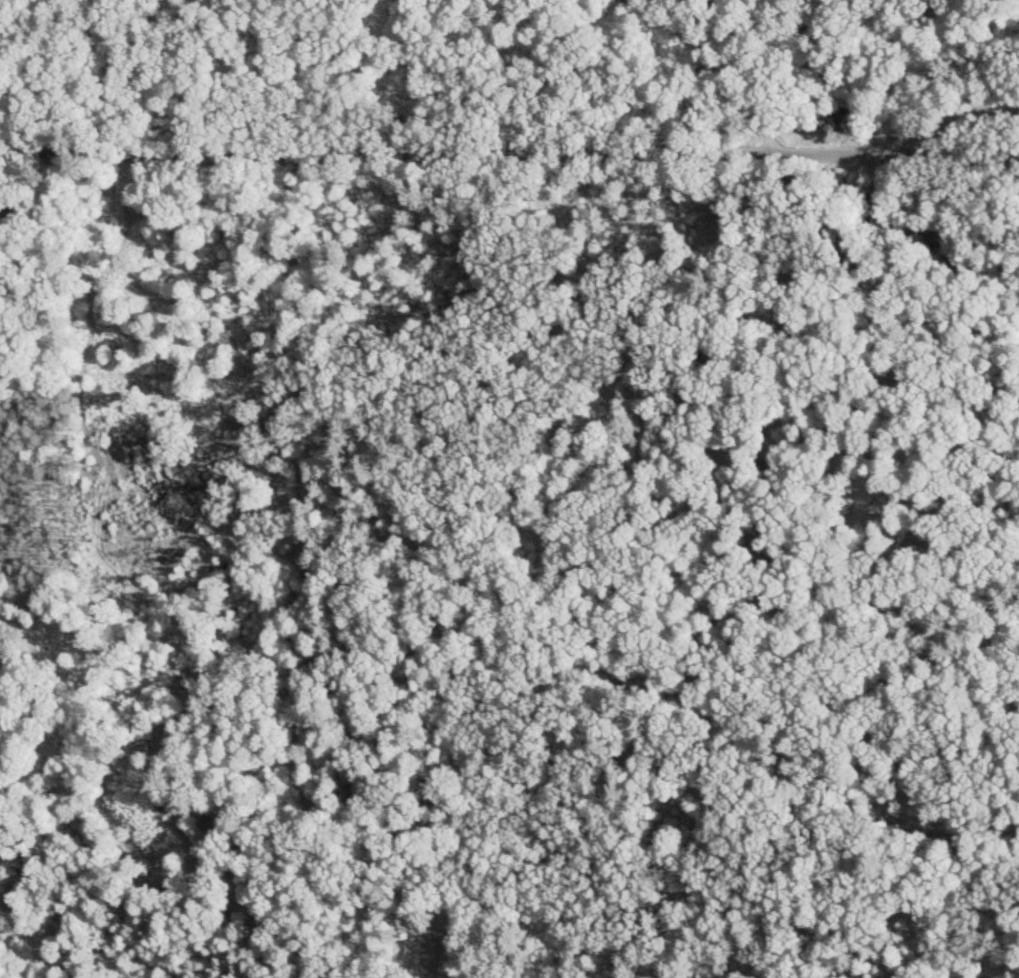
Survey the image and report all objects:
road: (717, 56)
road: (953, 62)
road: (510, 125)
building: (147, 730)

